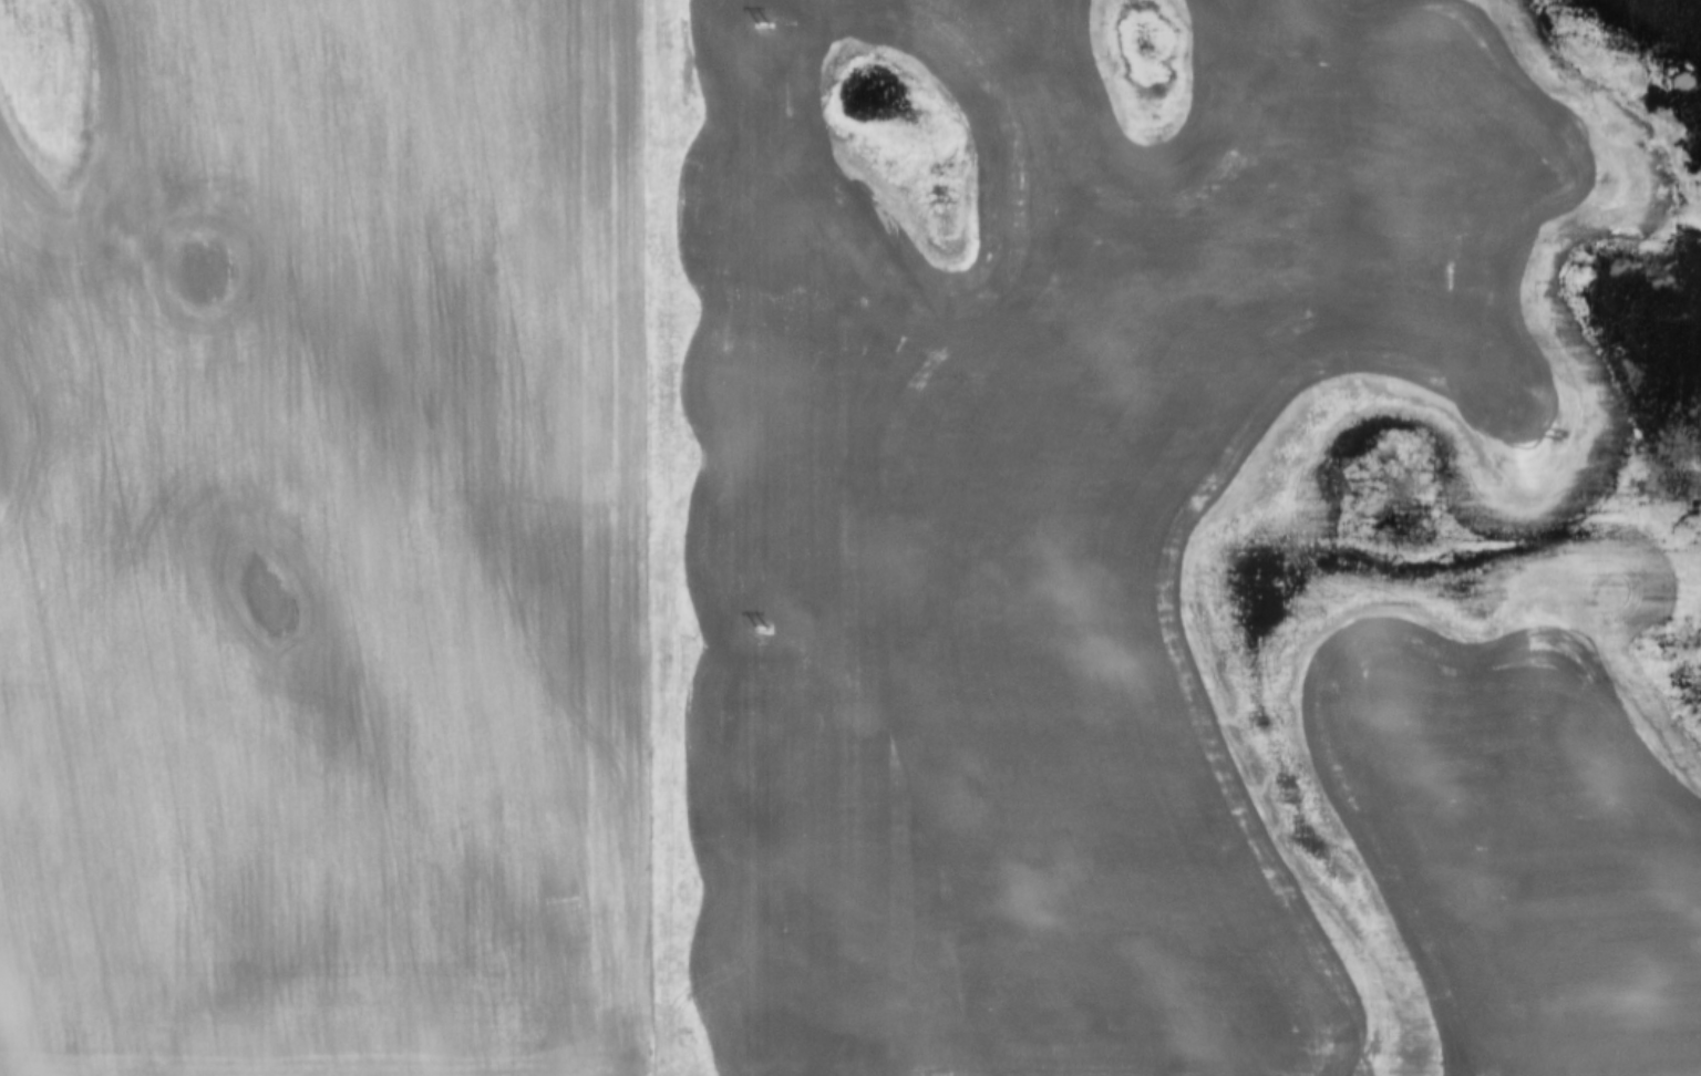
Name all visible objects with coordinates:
power tower: (760, 25)
road: (667, 537)
power tower: (759, 628)

